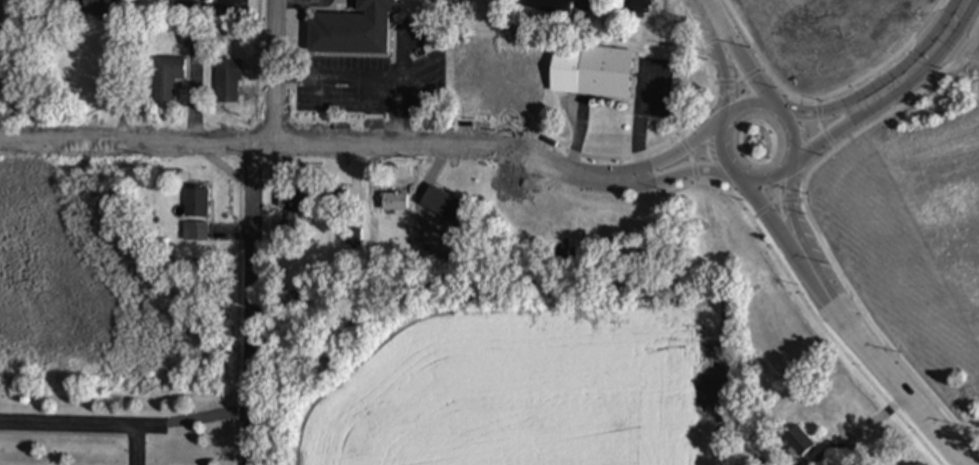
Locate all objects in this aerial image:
road: (284, 0)
building: (635, 4)
building: (99, 6)
building: (549, 6)
road: (202, 12)
road: (707, 18)
building: (353, 31)
building: (191, 38)
road: (933, 51)
road: (273, 68)
building: (605, 72)
road: (745, 72)
building: (167, 79)
road: (727, 80)
building: (228, 82)
road: (380, 87)
road: (744, 104)
road: (835, 111)
road: (842, 125)
road: (794, 129)
road: (309, 139)
road: (720, 154)
road: (668, 160)
road: (671, 175)
road: (770, 180)
building: (302, 202)
building: (394, 202)
building: (196, 203)
building: (444, 205)
road: (791, 209)
road: (772, 218)
building: (195, 233)
road: (251, 302)
road: (877, 365)
crop: (497, 378)
road: (82, 424)
road: (863, 429)
building: (799, 442)
road: (139, 446)

